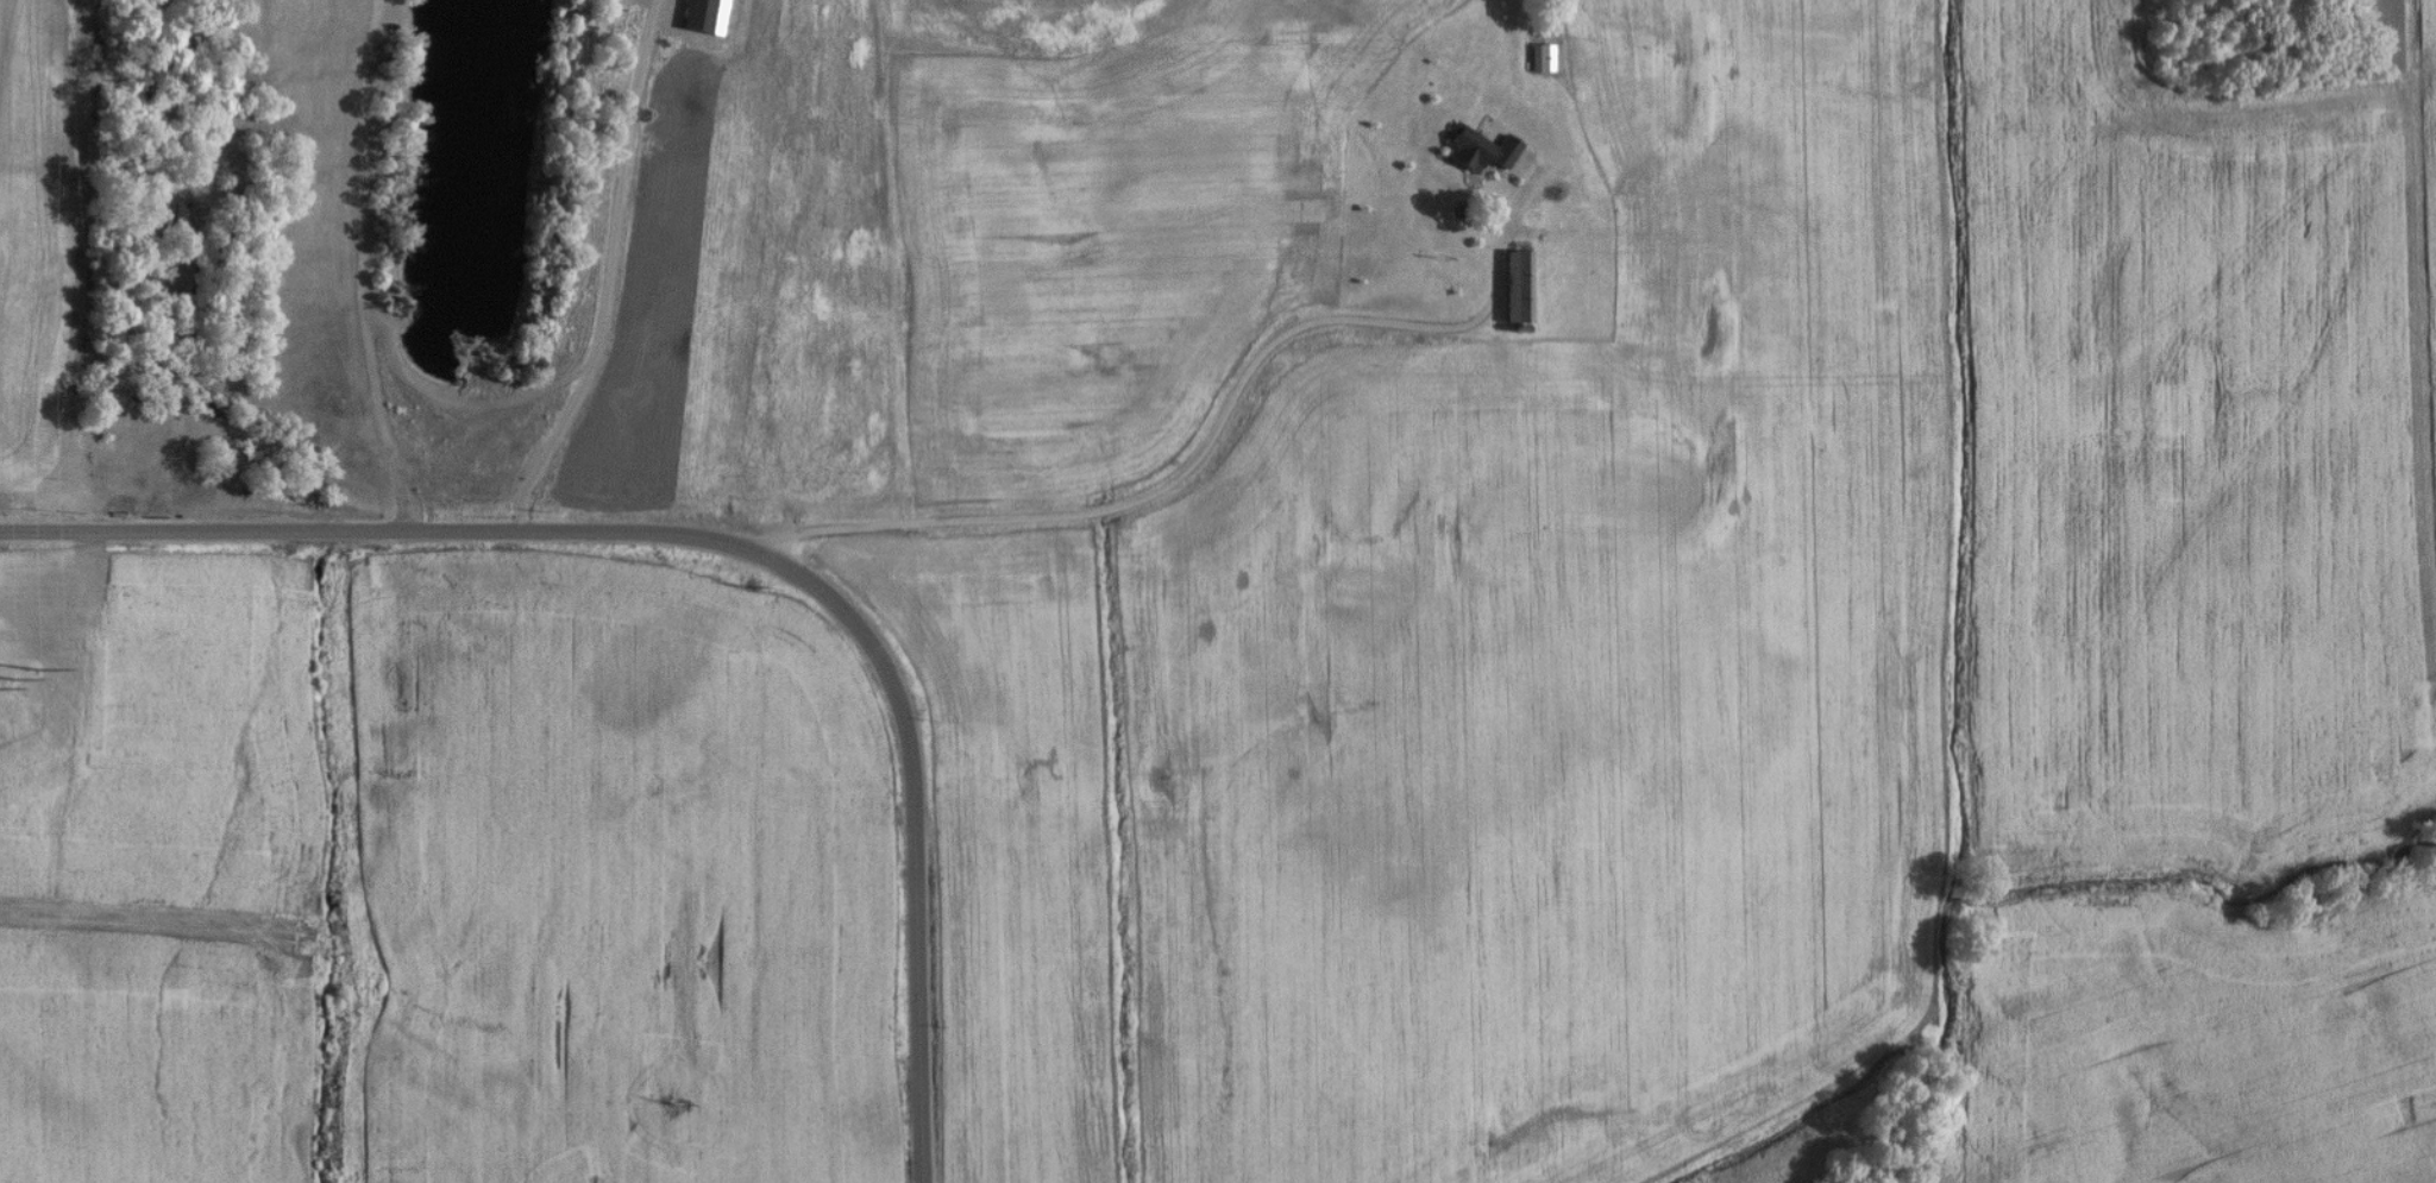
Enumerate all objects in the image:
building: (1539, 61)
building: (1477, 152)
building: (170, 222)
building: (1676, 259)
road: (609, 275)
building: (1515, 290)
road: (1228, 403)
road: (801, 537)
road: (727, 542)
power tower: (36, 673)

